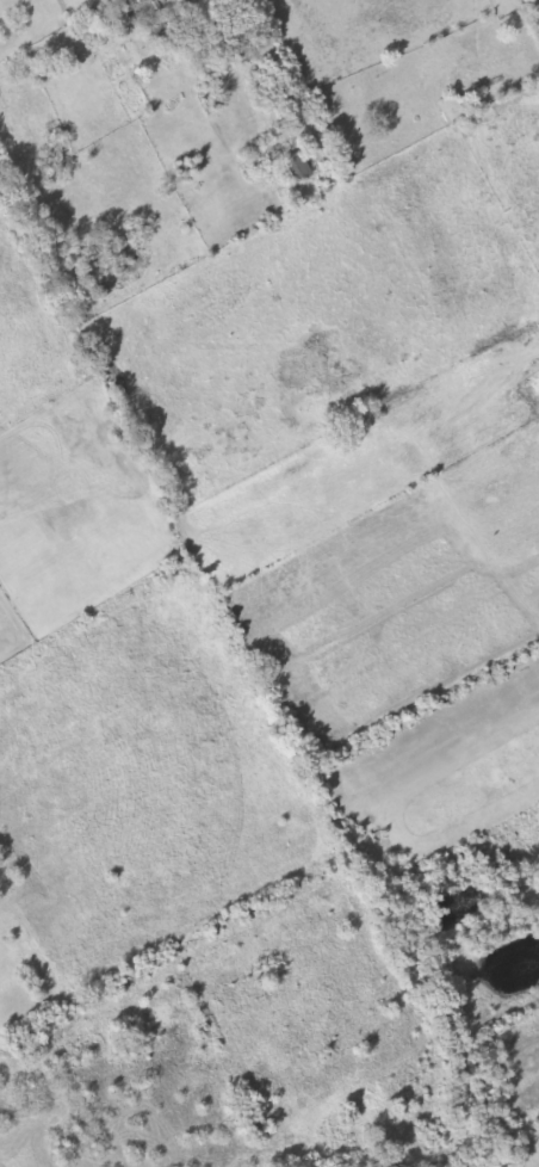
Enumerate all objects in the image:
building: (293, 166)

